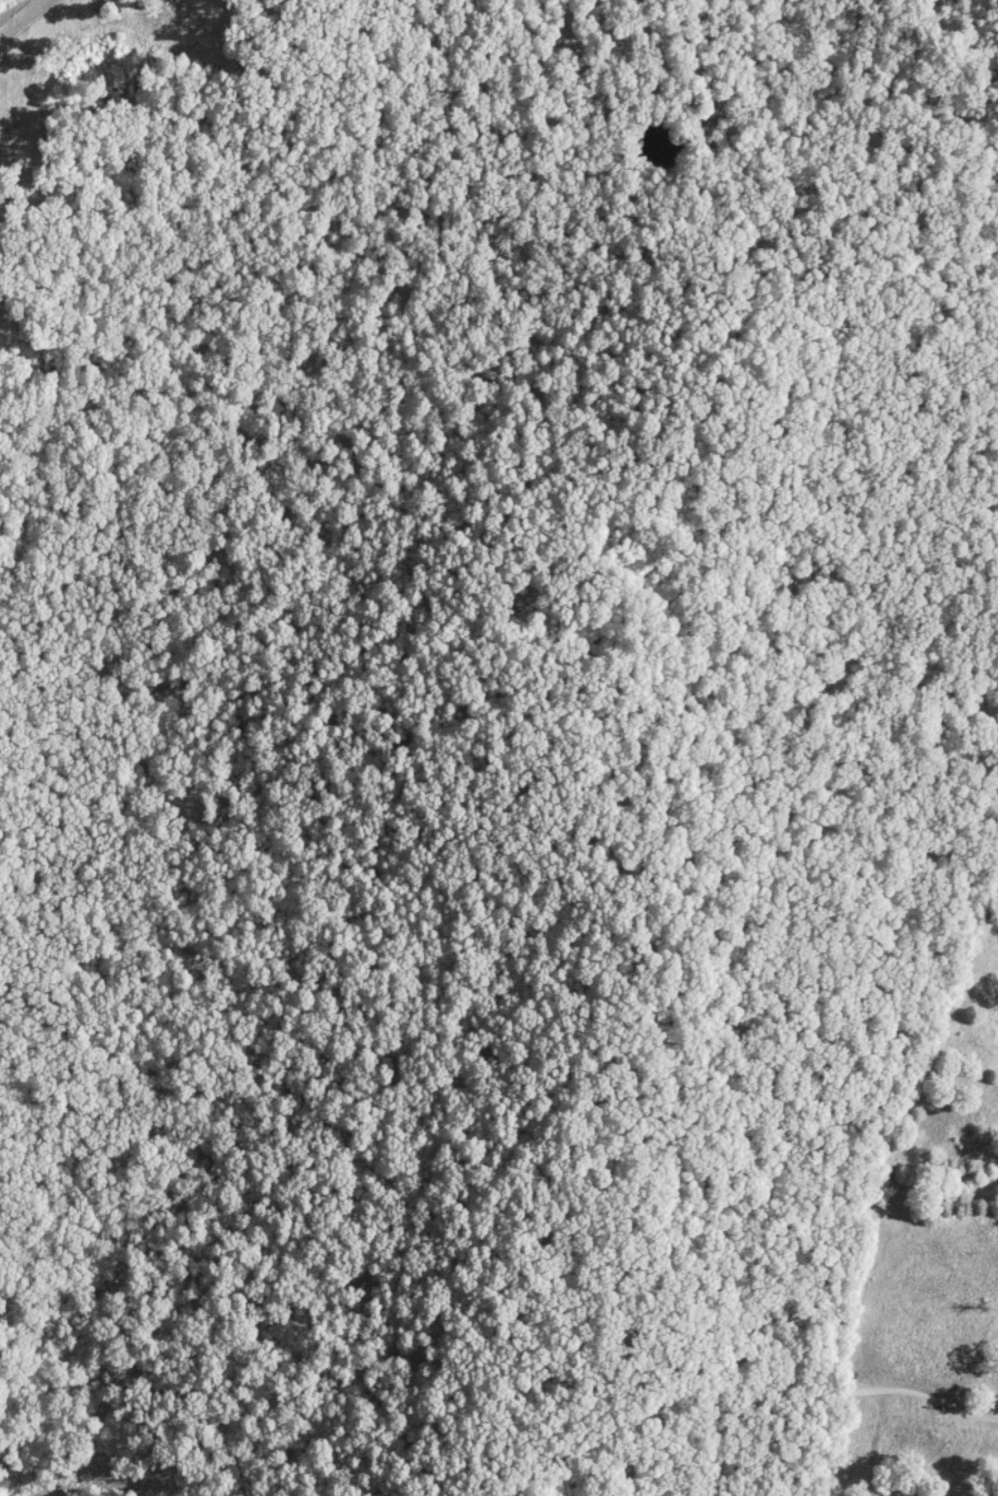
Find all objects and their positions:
road: (731, 1380)

